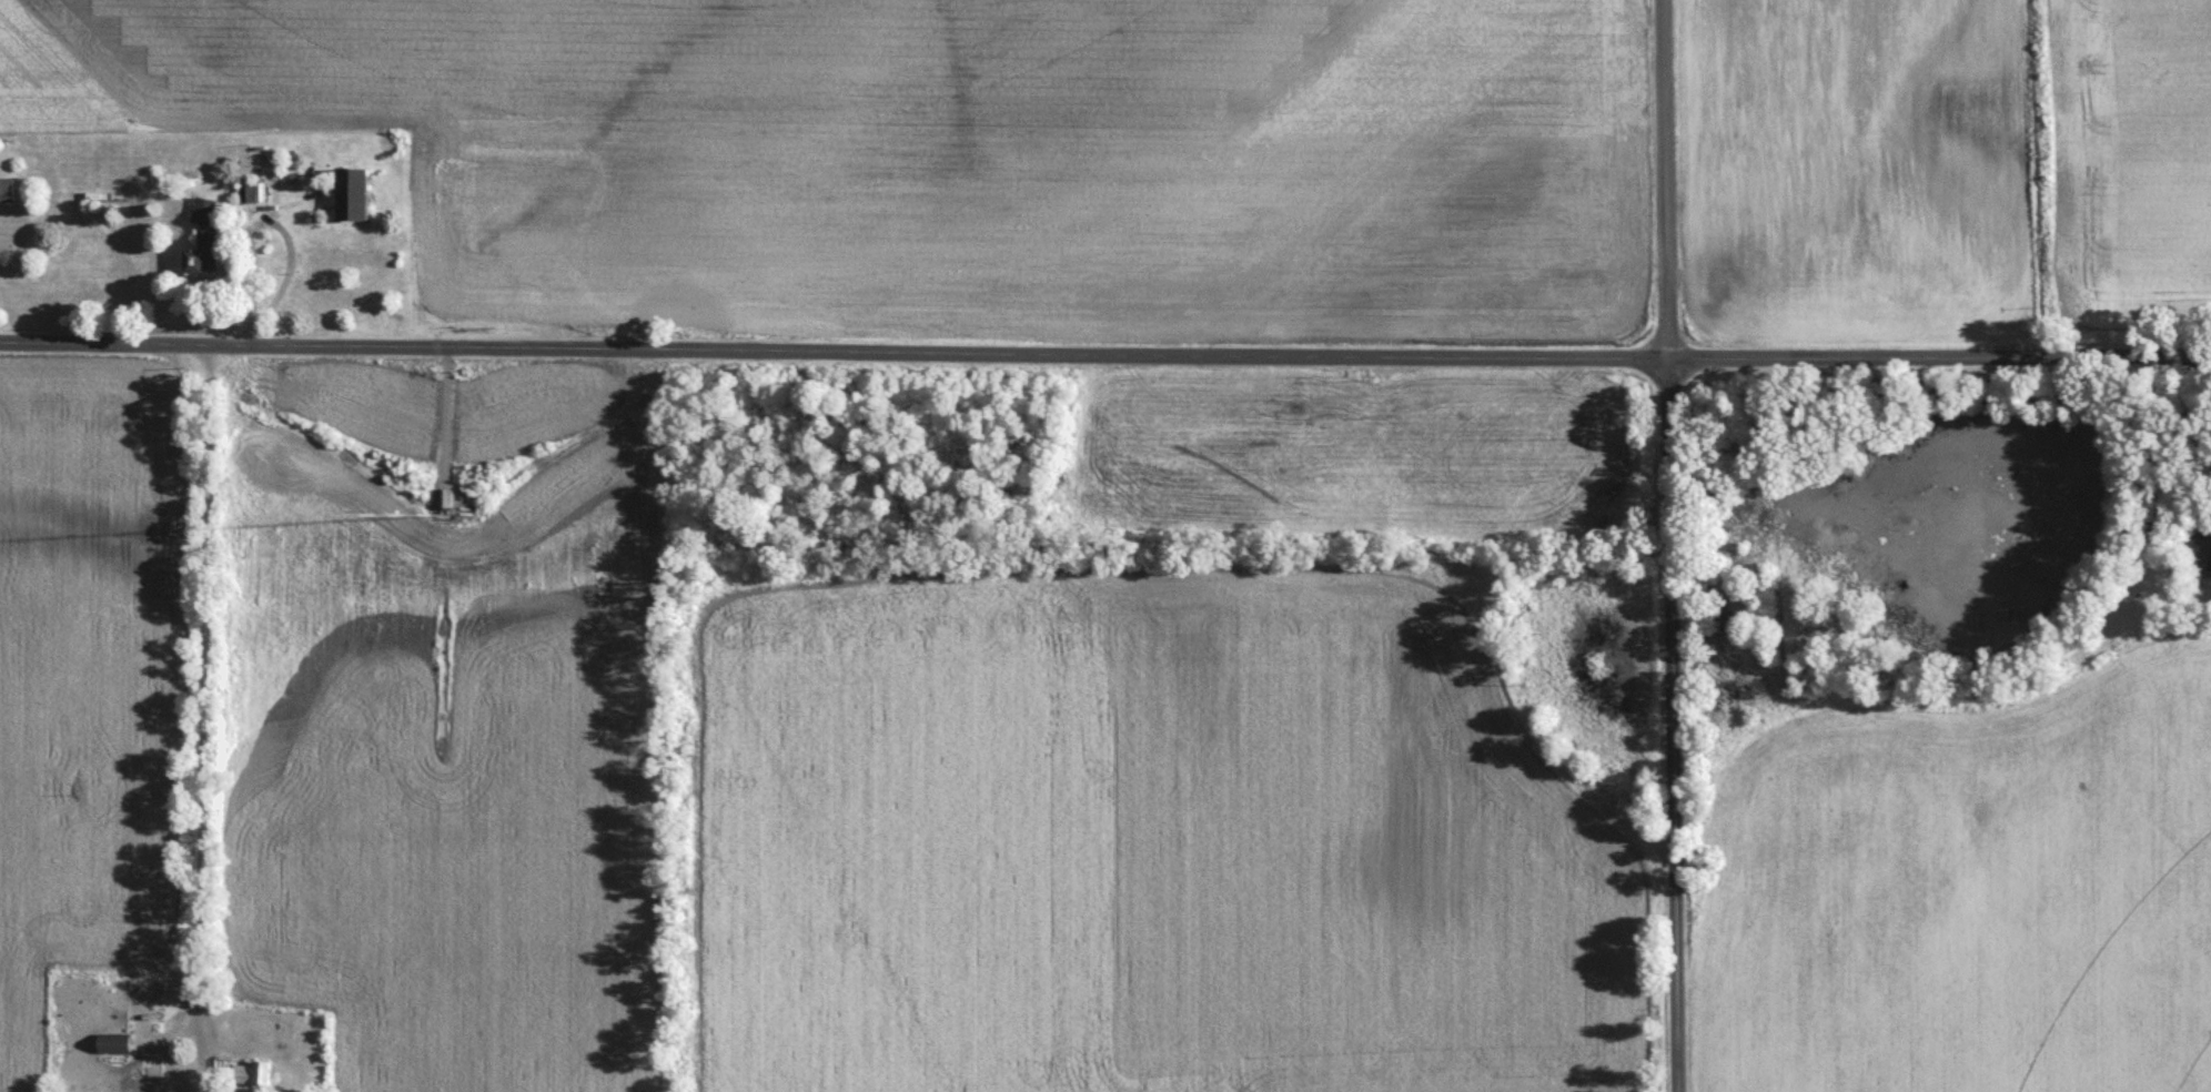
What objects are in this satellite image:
building: (273, 178)
road: (1663, 180)
building: (4, 194)
building: (245, 198)
building: (350, 199)
building: (203, 216)
building: (198, 265)
road: (834, 351)
road: (1939, 356)
building: (444, 503)
building: (2202, 557)
road: (201, 692)
road: (1672, 726)
building: (111, 1046)
building: (252, 1075)

